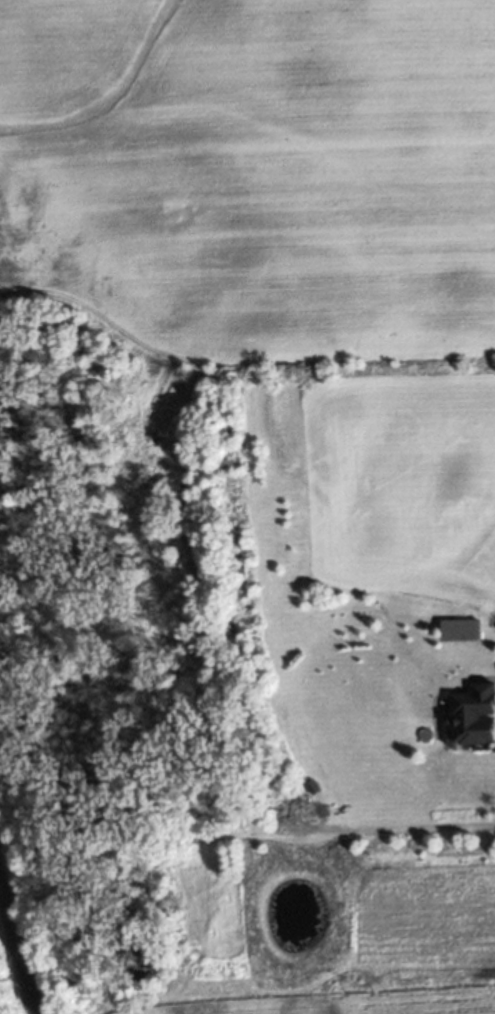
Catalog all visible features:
building: (472, 715)
railway: (17, 953)

